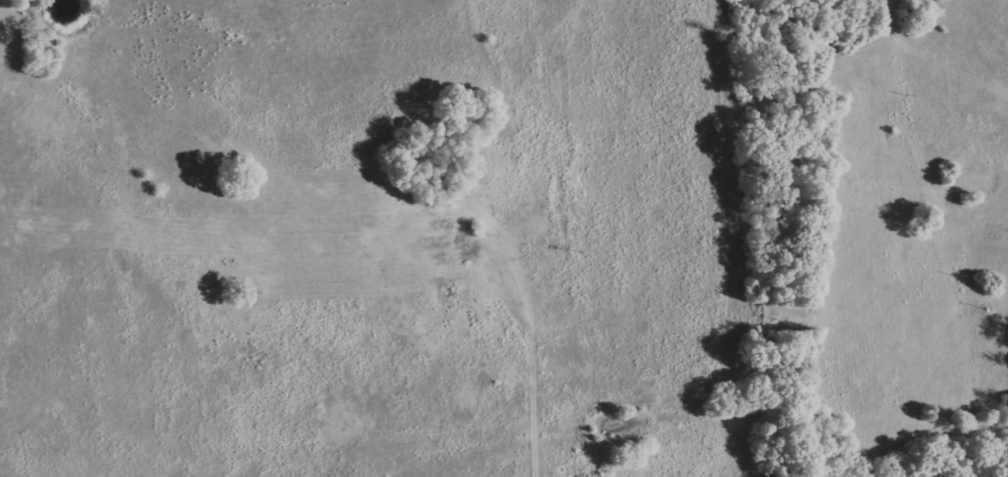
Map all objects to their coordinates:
road: (602, 438)

